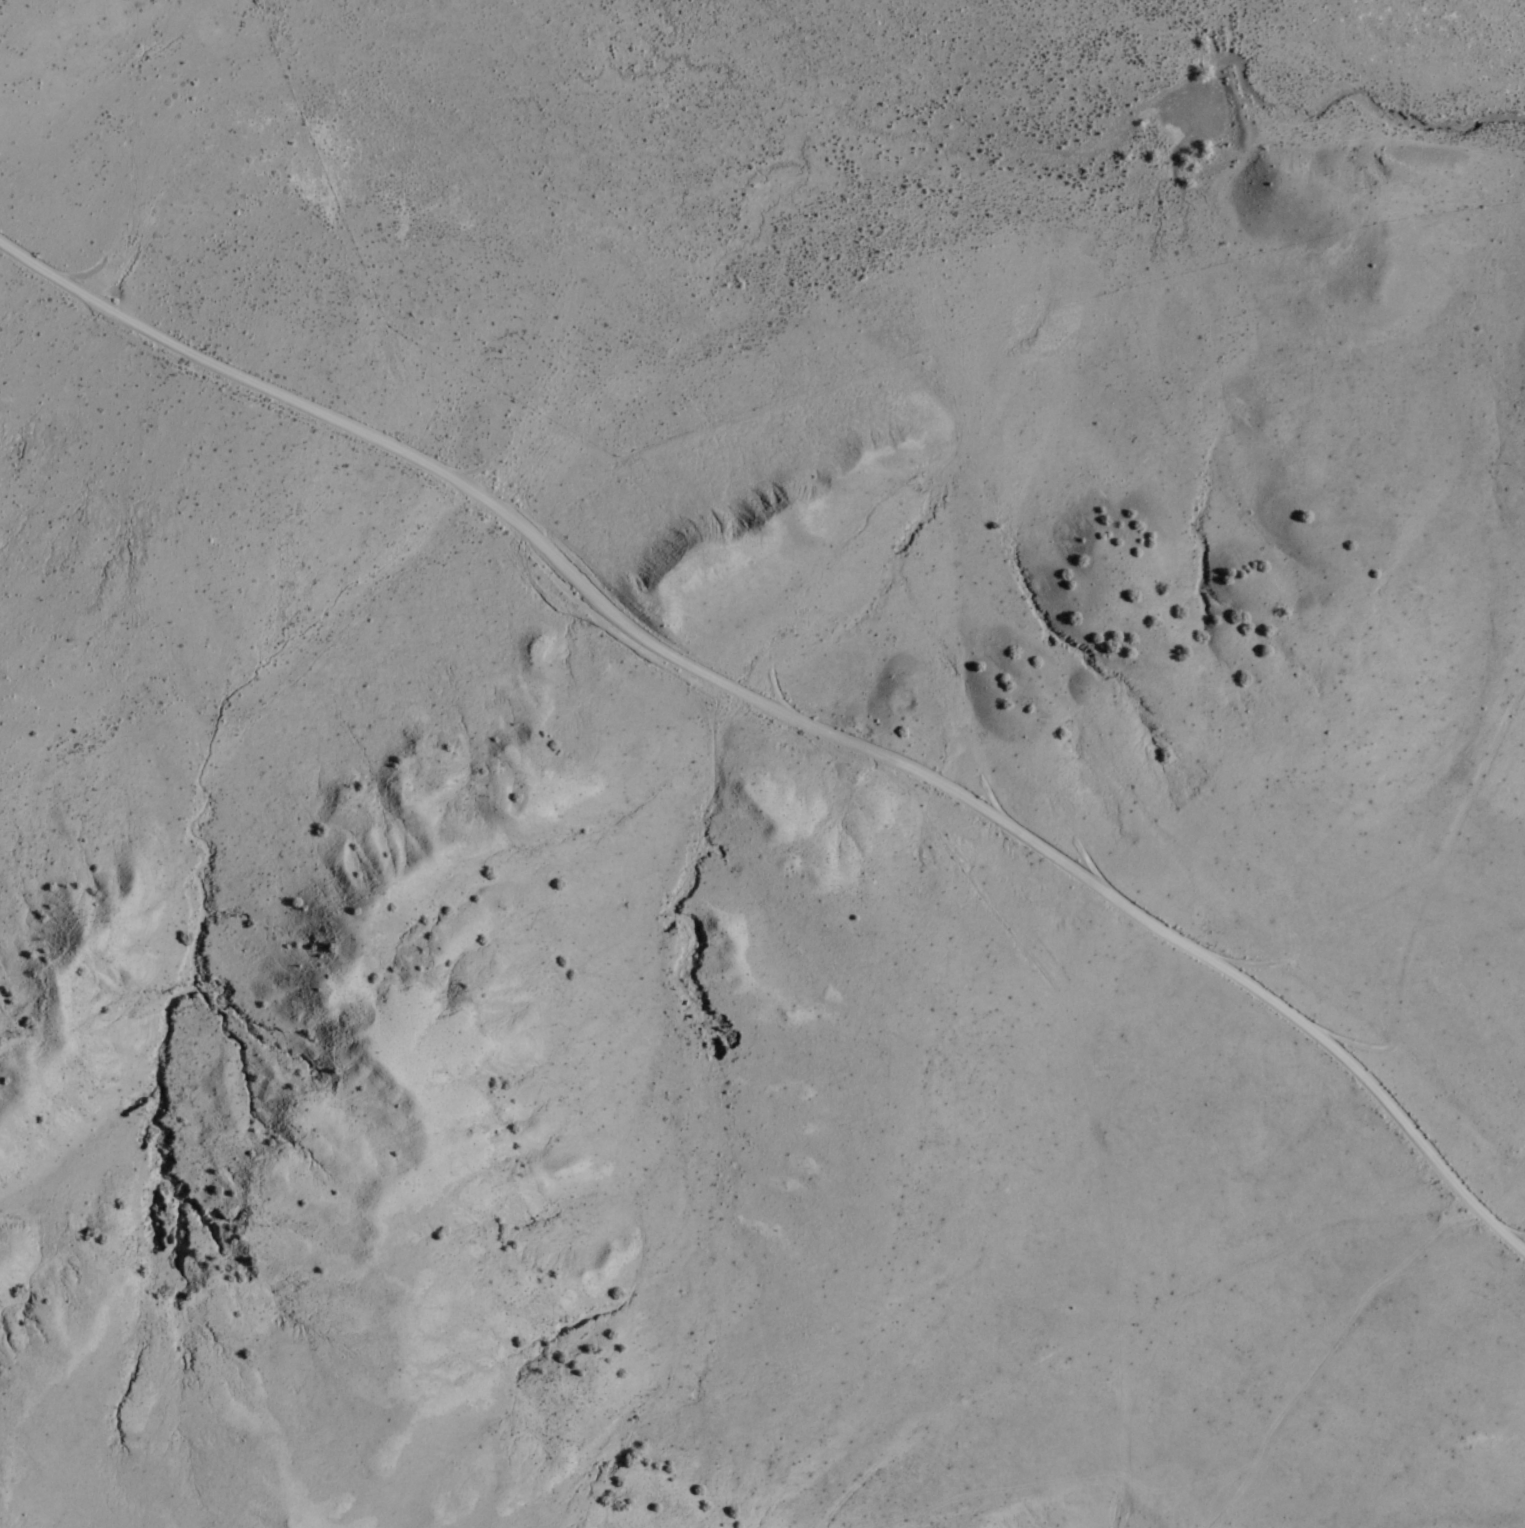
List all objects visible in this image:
road: (788, 711)

